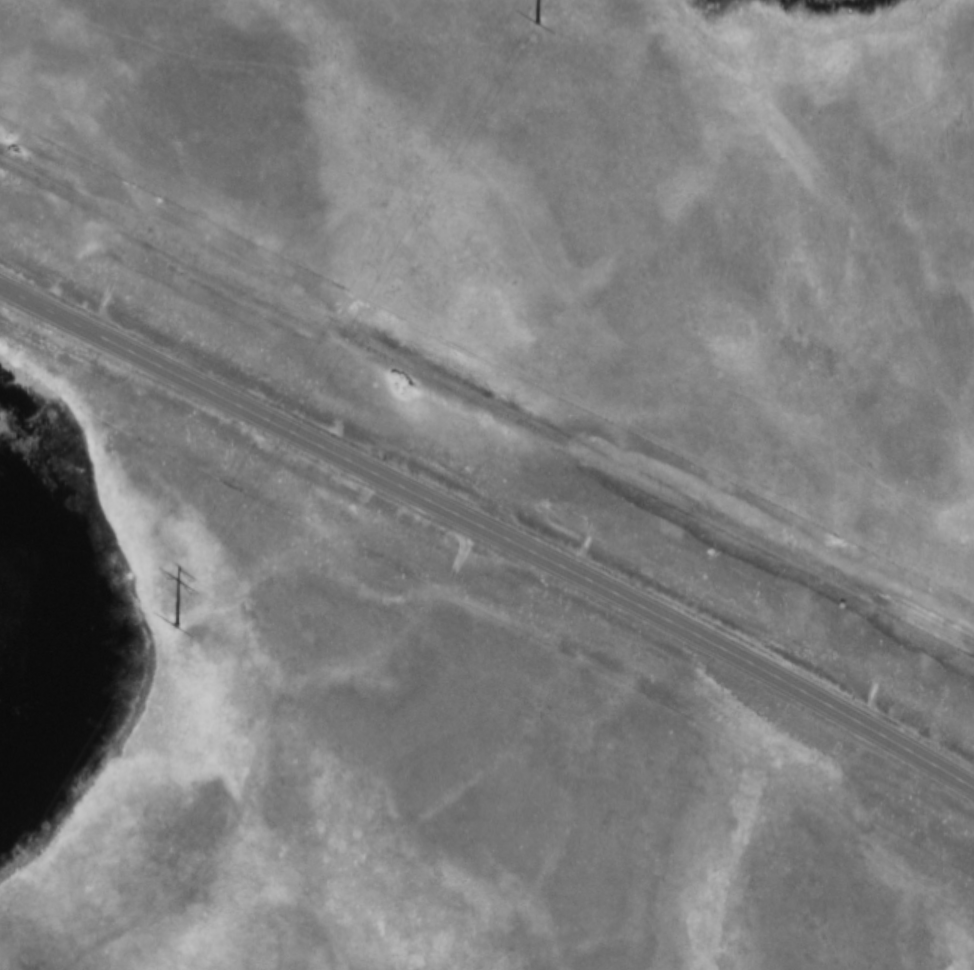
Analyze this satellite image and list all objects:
power tower: (529, 9)
road: (489, 527)
power tower: (172, 616)

